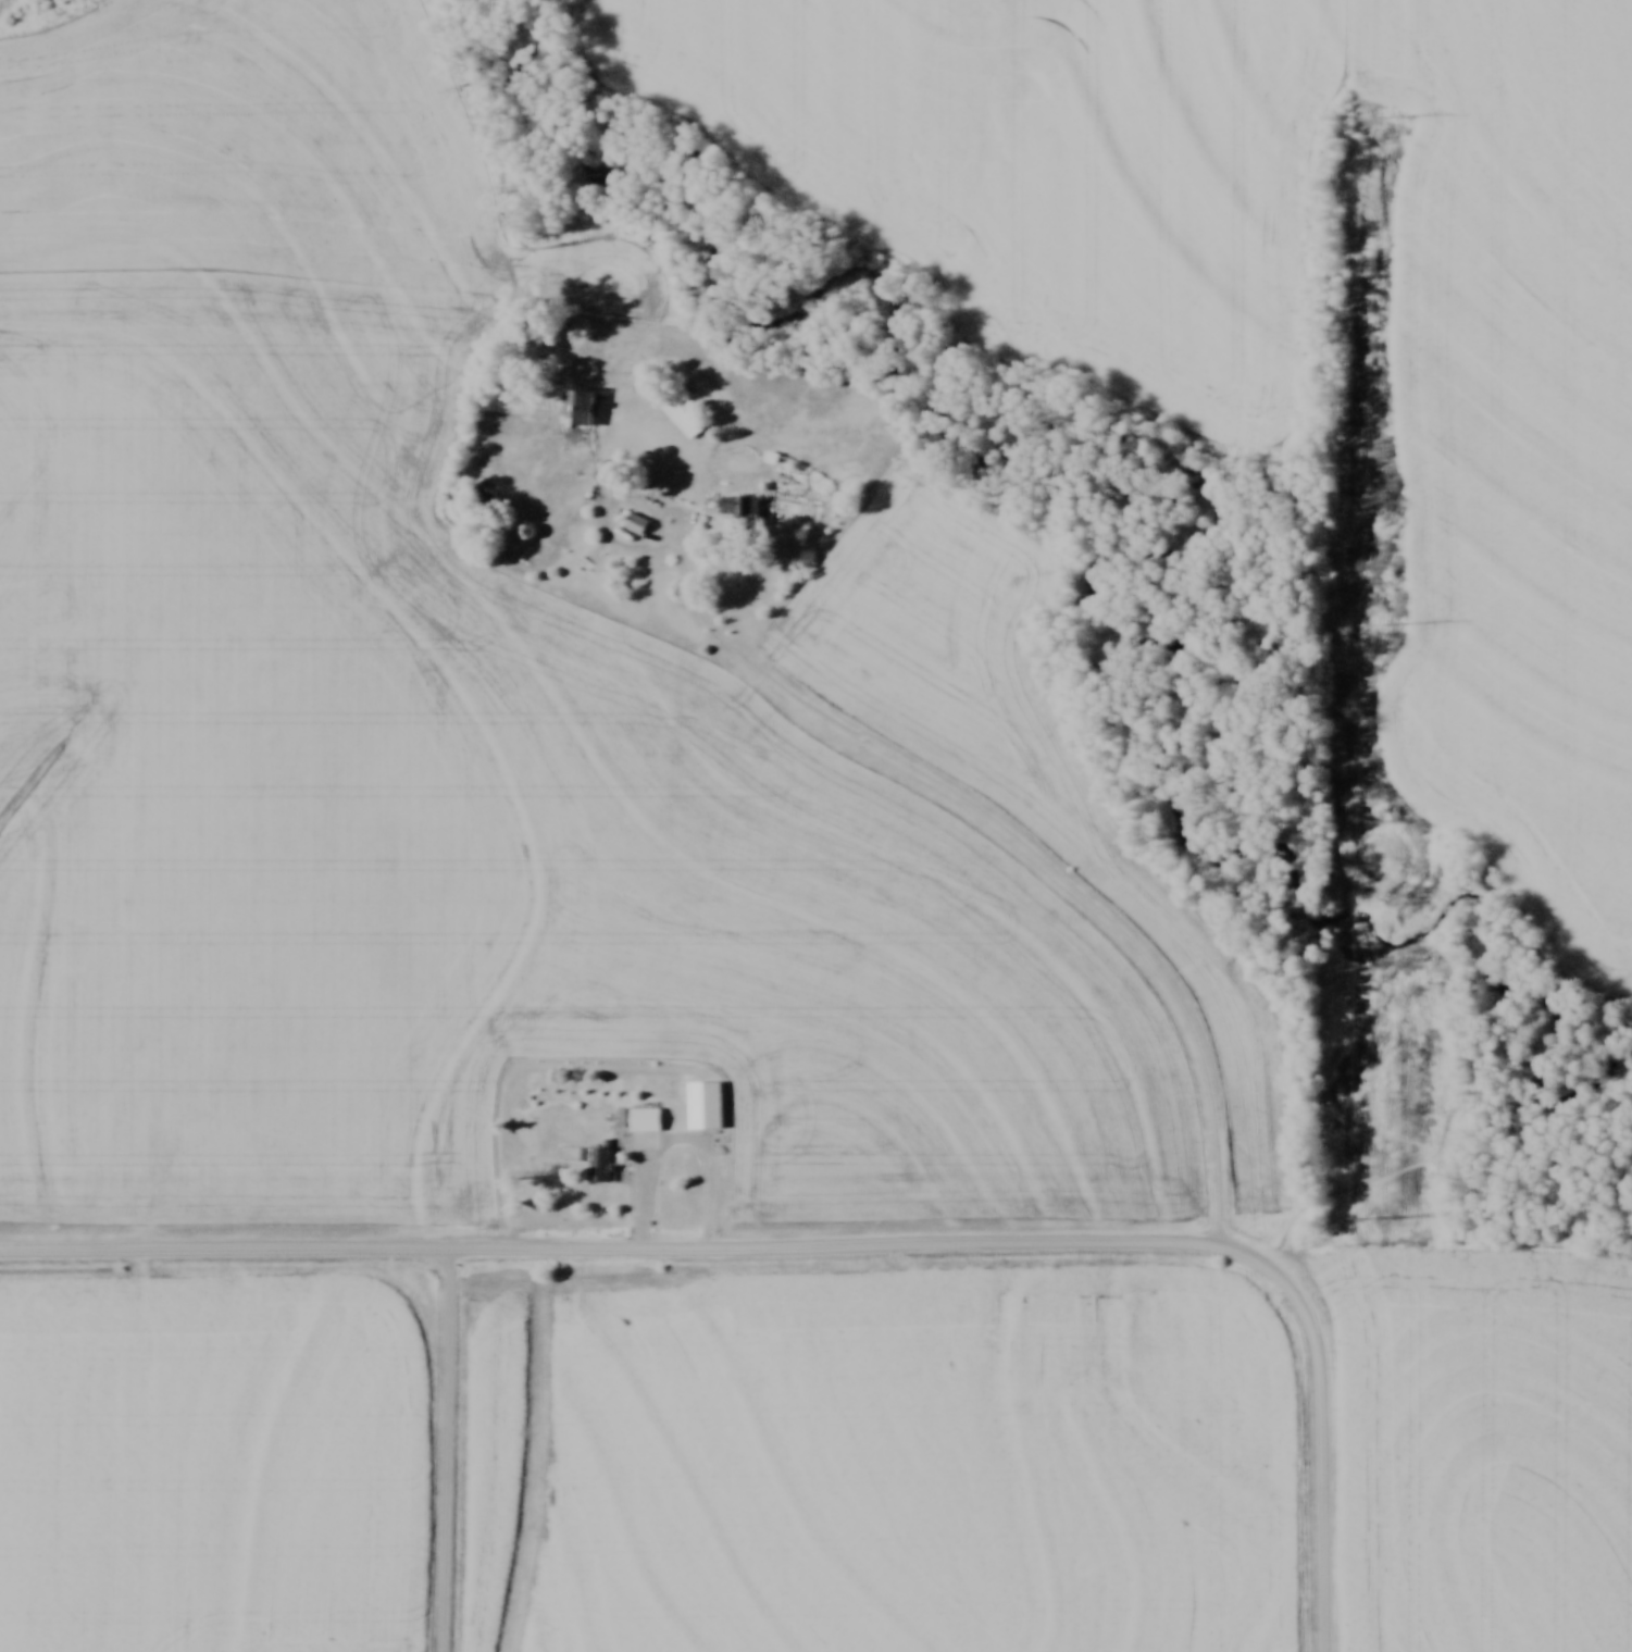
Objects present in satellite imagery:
power tower: (1396, 115)
building: (582, 406)
building: (685, 421)
building: (743, 505)
power tower: (1386, 628)
road: (1018, 841)
building: (712, 1107)
building: (650, 1117)
road: (677, 1142)
building: (602, 1164)
power tower: (1381, 1218)
road: (612, 1254)
road: (1324, 1427)
road: (440, 1452)

